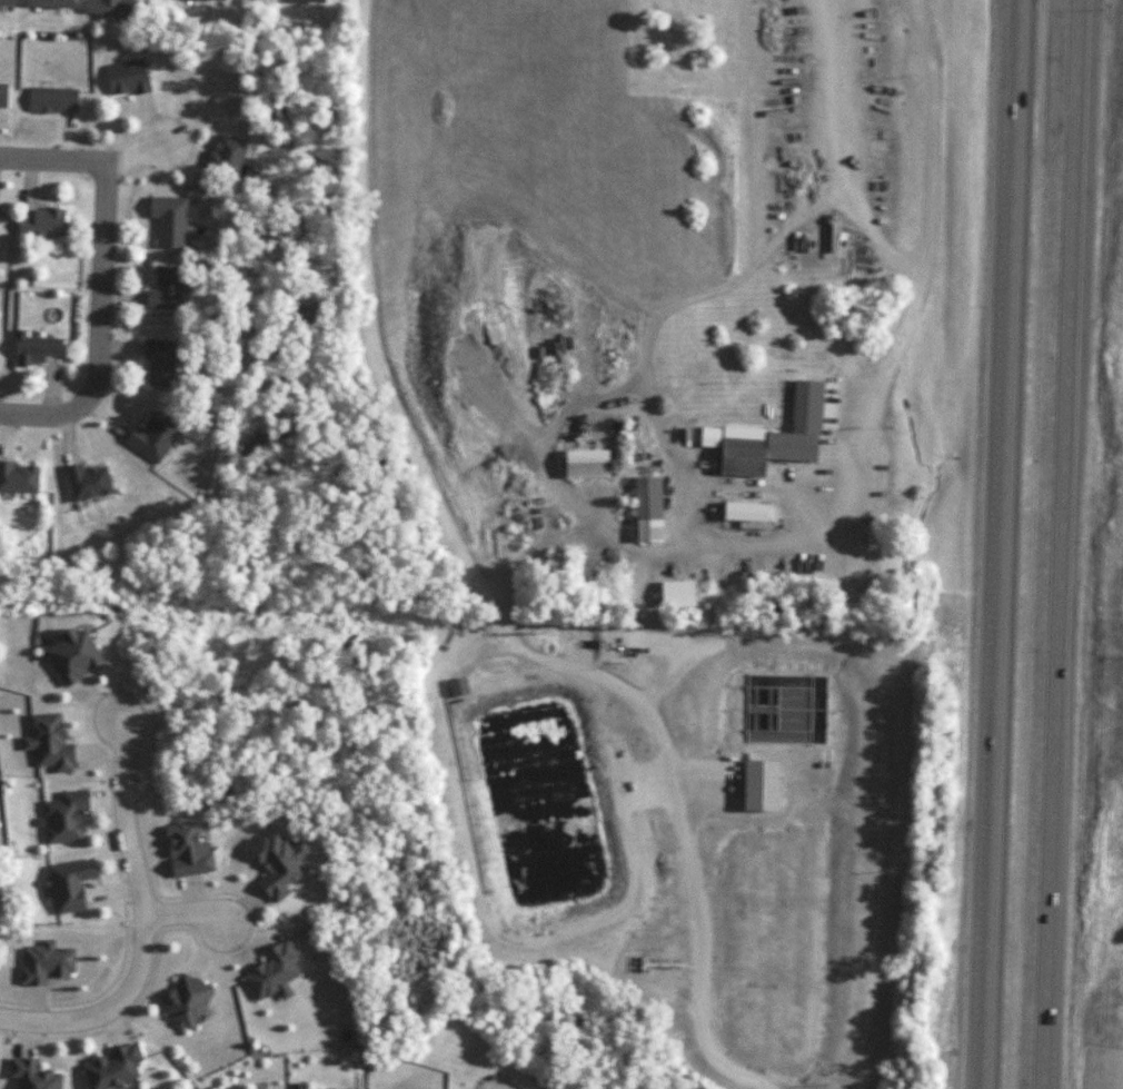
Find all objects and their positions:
building: (199, 0)
building: (301, 1)
building: (6, 2)
building: (46, 3)
building: (659, 3)
building: (105, 7)
building: (672, 44)
building: (123, 79)
building: (1, 95)
building: (49, 101)
building: (221, 155)
road: (80, 158)
building: (165, 220)
building: (38, 225)
road: (867, 241)
building: (160, 289)
road: (98, 324)
road: (117, 346)
building: (31, 348)
building: (155, 365)
road: (48, 387)
road: (102, 408)
road: (1, 433)
road: (64, 434)
building: (771, 438)
building: (142, 442)
building: (583, 465)
building: (17, 478)
building: (83, 483)
building: (644, 511)
building: (742, 513)
road: (1001, 544)
road: (1066, 544)
road: (710, 552)
building: (673, 595)
road: (486, 601)
building: (68, 657)
building: (454, 689)
building: (44, 743)
building: (61, 819)
building: (66, 884)
road: (190, 921)
road: (149, 934)
building: (269, 972)
building: (182, 1002)
building: (107, 1067)
building: (27, 1075)

